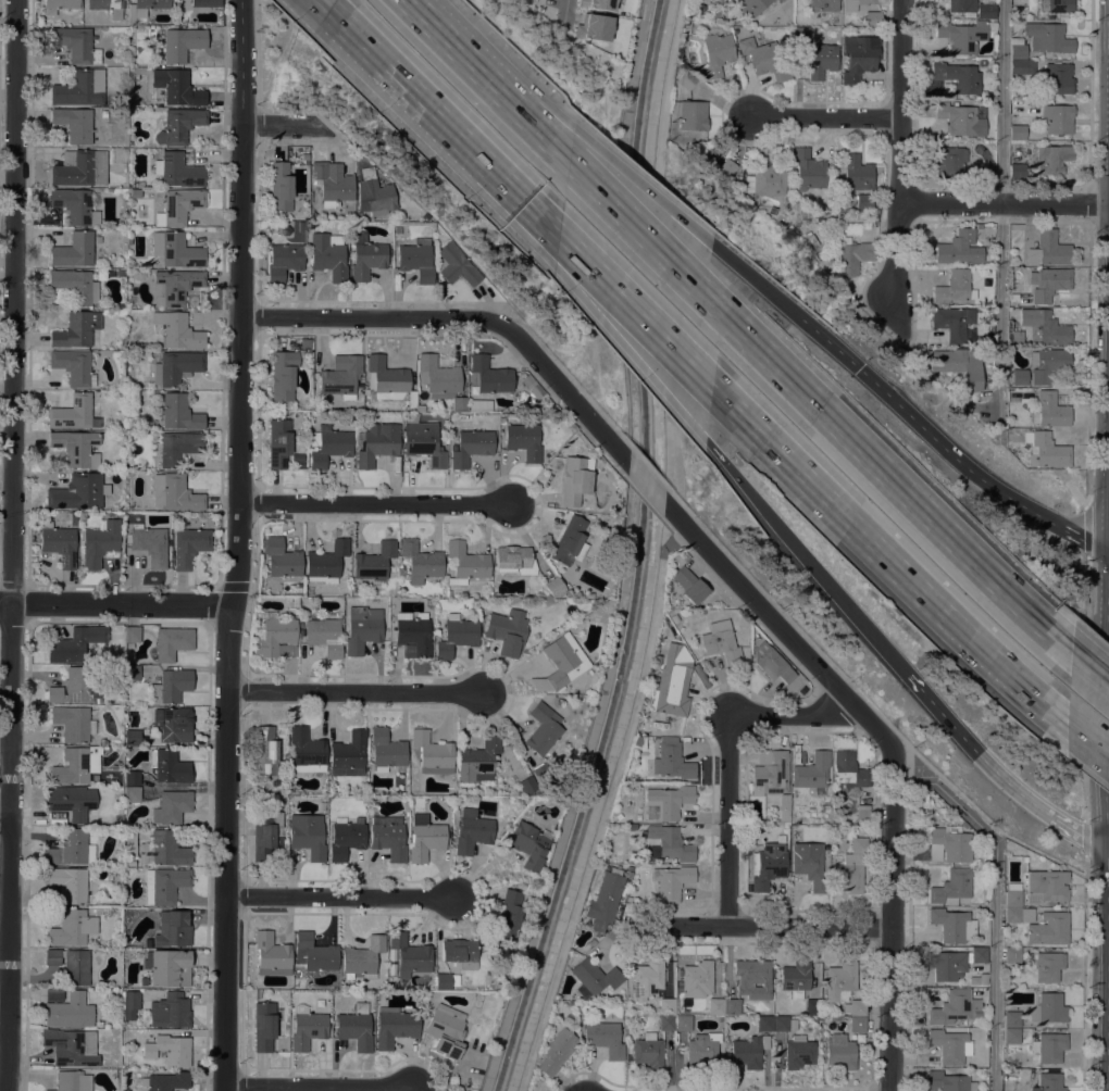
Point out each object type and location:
building: (778, 0)
building: (783, 0)
building: (205, 2)
building: (597, 3)
building: (856, 3)
building: (58, 5)
building: (822, 5)
building: (961, 5)
building: (107, 7)
road: (322, 7)
building: (750, 7)
building: (1057, 7)
building: (144, 8)
building: (985, 10)
road: (566, 16)
building: (872, 18)
building: (593, 27)
building: (801, 35)
building: (961, 36)
building: (1047, 37)
building: (75, 43)
building: (182, 43)
building: (1017, 49)
building: (715, 54)
building: (859, 57)
building: (764, 58)
building: (821, 60)
road: (495, 64)
building: (1022, 66)
road: (386, 67)
building: (958, 76)
building: (1058, 78)
building: (686, 79)
road: (487, 83)
building: (79, 88)
building: (178, 88)
building: (690, 114)
road: (825, 116)
building: (963, 117)
building: (1057, 118)
building: (73, 124)
building: (178, 125)
road: (286, 126)
building: (1017, 131)
road: (899, 149)
building: (1051, 159)
building: (950, 161)
building: (726, 167)
building: (79, 168)
building: (177, 171)
building: (810, 171)
building: (986, 171)
building: (1017, 171)
building: (857, 172)
road: (503, 176)
building: (767, 180)
building: (332, 185)
road: (645, 186)
building: (281, 187)
building: (132, 192)
building: (374, 192)
road: (500, 196)
building: (863, 201)
road: (1004, 202)
building: (74, 205)
building: (178, 206)
road: (1000, 212)
building: (861, 213)
building: (313, 214)
building: (803, 214)
building: (977, 226)
road: (639, 230)
building: (959, 248)
building: (1048, 249)
building: (74, 250)
building: (175, 250)
building: (328, 255)
building: (367, 256)
building: (852, 256)
building: (416, 260)
building: (283, 261)
building: (457, 265)
building: (100, 274)
building: (137, 274)
road: (757, 280)
building: (1048, 283)
building: (176, 285)
building: (72, 287)
building: (955, 287)
road: (639, 308)
road: (468, 319)
building: (952, 322)
building: (1045, 327)
building: (76, 329)
building: (177, 330)
building: (1017, 337)
building: (304, 342)
road: (832, 343)
road: (632, 353)
building: (1047, 363)
building: (73, 366)
building: (961, 366)
building: (176, 367)
traffic signals: (862, 369)
building: (488, 375)
building: (283, 376)
building: (340, 376)
building: (1020, 377)
building: (387, 380)
building: (440, 380)
building: (527, 380)
building: (420, 409)
building: (1050, 411)
building: (179, 412)
building: (74, 413)
building: (502, 421)
building: (1015, 429)
building: (423, 440)
building: (523, 440)
building: (278, 442)
building: (376, 443)
building: (74, 446)
building: (328, 446)
building: (176, 447)
building: (471, 447)
building: (1045, 450)
road: (977, 472)
building: (607, 473)
road: (890, 475)
building: (575, 480)
road: (647, 485)
building: (78, 491)
building: (175, 492)
road: (377, 505)
building: (80, 515)
road: (674, 538)
building: (570, 541)
building: (100, 542)
building: (59, 543)
building: (148, 543)
road: (15, 545)
building: (189, 545)
road: (238, 545)
road: (802, 554)
road: (893, 555)
building: (514, 560)
building: (374, 561)
building: (421, 561)
building: (281, 562)
building: (326, 562)
building: (465, 563)
building: (689, 585)
building: (553, 587)
building: (447, 593)
building: (292, 601)
road: (115, 604)
road: (781, 626)
building: (362, 628)
building: (506, 630)
building: (130, 634)
building: (412, 635)
building: (324, 636)
building: (456, 636)
building: (275, 637)
building: (671, 637)
building: (721, 642)
building: (75, 643)
building: (170, 643)
building: (129, 645)
building: (561, 662)
building: (772, 662)
road: (1092, 669)
building: (132, 673)
building: (171, 686)
building: (75, 687)
building: (793, 692)
road: (359, 693)
building: (665, 694)
building: (73, 723)
building: (173, 724)
building: (646, 727)
building: (543, 728)
building: (133, 738)
road: (1089, 739)
road: (726, 747)
building: (386, 750)
building: (307, 751)
building: (265, 752)
building: (432, 752)
building: (348, 754)
building: (479, 758)
building: (671, 760)
building: (76, 765)
building: (169, 766)
road: (996, 769)
building: (543, 770)
building: (770, 770)
building: (811, 770)
building: (847, 773)
building: (132, 778)
building: (526, 786)
building: (130, 794)
building: (669, 801)
building: (783, 801)
building: (67, 802)
building: (172, 807)
road: (7, 810)
building: (862, 814)
road: (602, 822)
building: (472, 830)
building: (266, 833)
building: (307, 836)
building: (388, 837)
building: (346, 838)
building: (424, 838)
building: (129, 843)
building: (670, 843)
building: (858, 844)
building: (949, 844)
building: (529, 847)
building: (71, 849)
building: (164, 849)
building: (767, 865)
building: (809, 865)
building: (848, 874)
building: (671, 881)
building: (71, 885)
building: (164, 885)
building: (1046, 886)
building: (951, 887)
building: (1012, 894)
road: (345, 895)
building: (607, 895)
road: (994, 904)
building: (1019, 914)
building: (509, 915)
road: (896, 917)
building: (952, 925)
road: (763, 927)
building: (72, 928)
building: (173, 928)
building: (1049, 929)
building: (460, 952)
building: (271, 954)
building: (313, 954)
building: (979, 955)
building: (1012, 955)
building: (407, 956)
building: (362, 958)
building: (71, 965)
building: (947, 965)
building: (1048, 966)
building: (167, 967)
building: (594, 978)
building: (647, 978)
building: (752, 978)
building: (795, 978)
building: (696, 979)
building: (979, 979)
building: (142, 980)
building: (840, 980)
building: (445, 981)
building: (146, 990)
building: (53, 995)
building: (130, 1000)
building: (321, 1005)
building: (666, 1006)
building: (715, 1006)
building: (732, 1006)
building: (812, 1006)
building: (855, 1007)
building: (950, 1007)
building: (1048, 1008)
building: (68, 1011)
building: (170, 1011)
road: (7, 1017)
building: (1011, 1019)
building: (665, 1023)
building: (682, 1023)
building: (764, 1024)
building: (784, 1024)
building: (857, 1025)
building: (263, 1026)
building: (394, 1026)
building: (307, 1028)
building: (354, 1028)
building: (446, 1030)
building: (1011, 1036)
building: (605, 1038)
building: (950, 1045)
building: (71, 1046)
building: (1049, 1046)
building: (702, 1049)
building: (169, 1050)
building: (748, 1050)
building: (647, 1051)
building: (556, 1052)
building: (798, 1052)
building: (840, 1052)
building: (1048, 1080)
building: (72, 1081)
building: (164, 1081)
building: (949, 1081)
road: (319, 1087)

